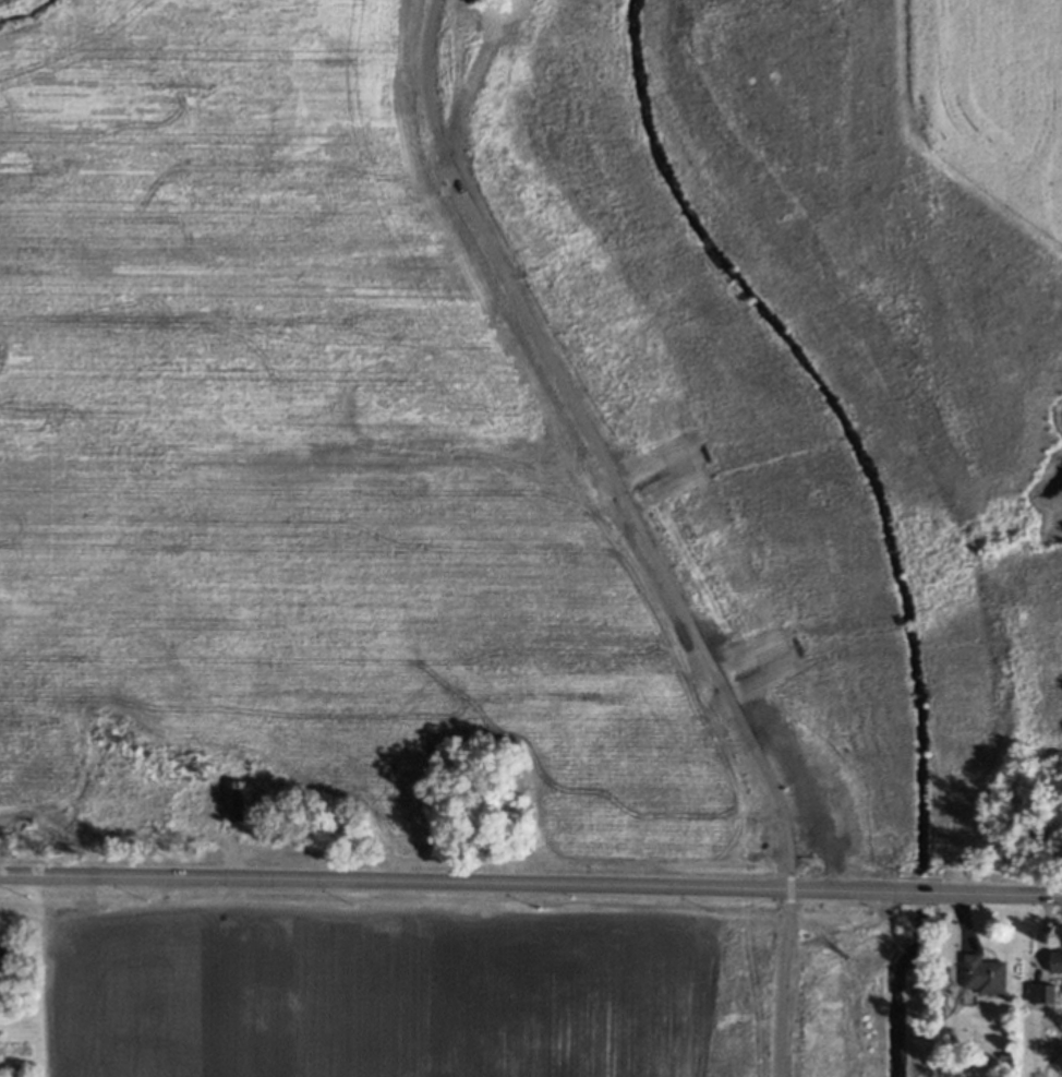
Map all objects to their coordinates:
crop: (979, 75)
road: (591, 441)
crop: (305, 454)
park: (789, 457)
building: (232, 801)
road: (58, 822)
road: (450, 884)
road: (787, 890)
road: (925, 894)
road: (1005, 896)
building: (4, 952)
building: (1055, 962)
building: (982, 974)
crop: (372, 984)
road: (779, 991)
building: (1039, 993)

